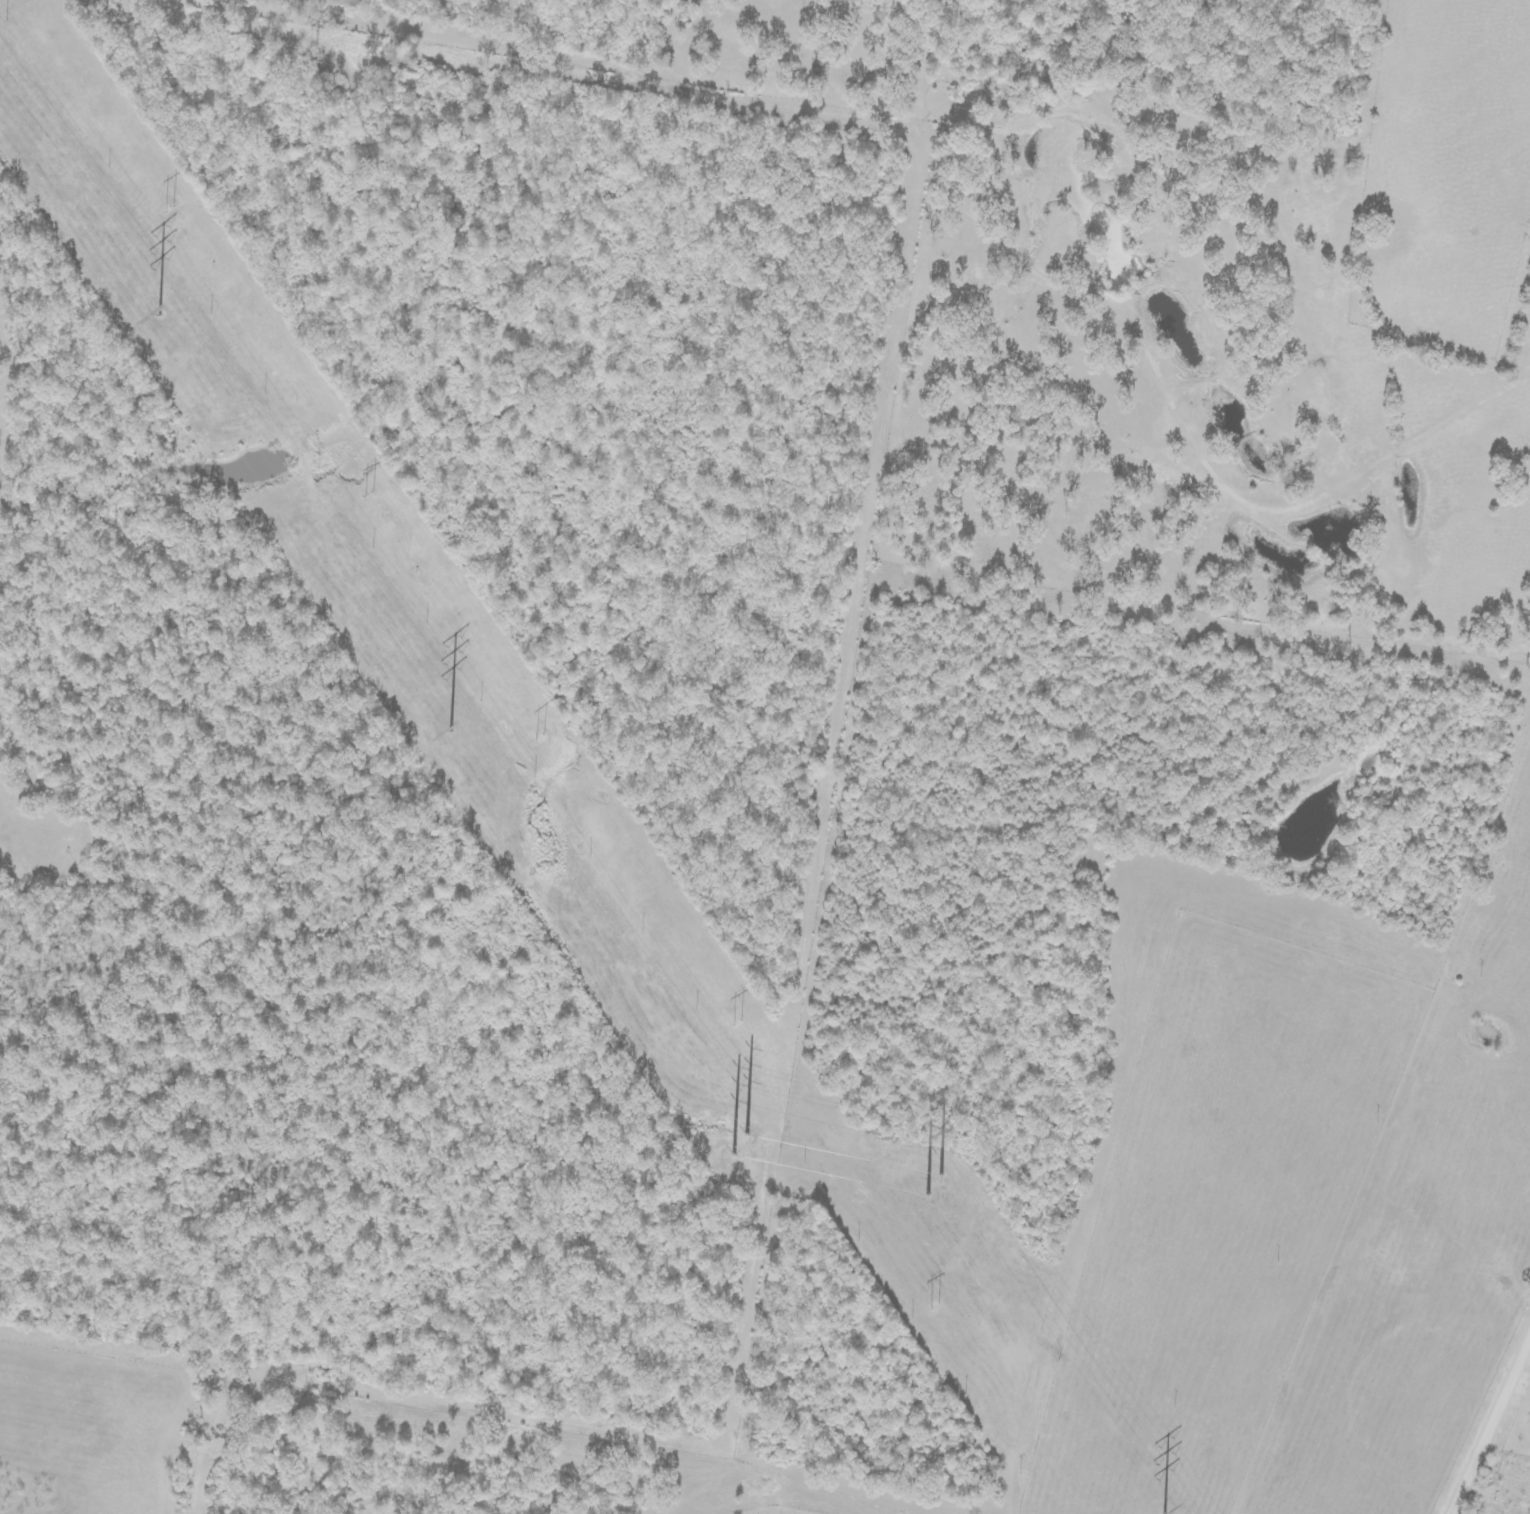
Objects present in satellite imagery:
power tower: (168, 208)
power tower: (158, 310)
power tower: (369, 495)
power tower: (450, 724)
power tower: (537, 736)
power tower: (733, 1025)
power tower: (737, 1137)
power tower: (932, 1176)
power tower: (936, 1305)
road: (1493, 1435)
power tower: (1163, 1508)

